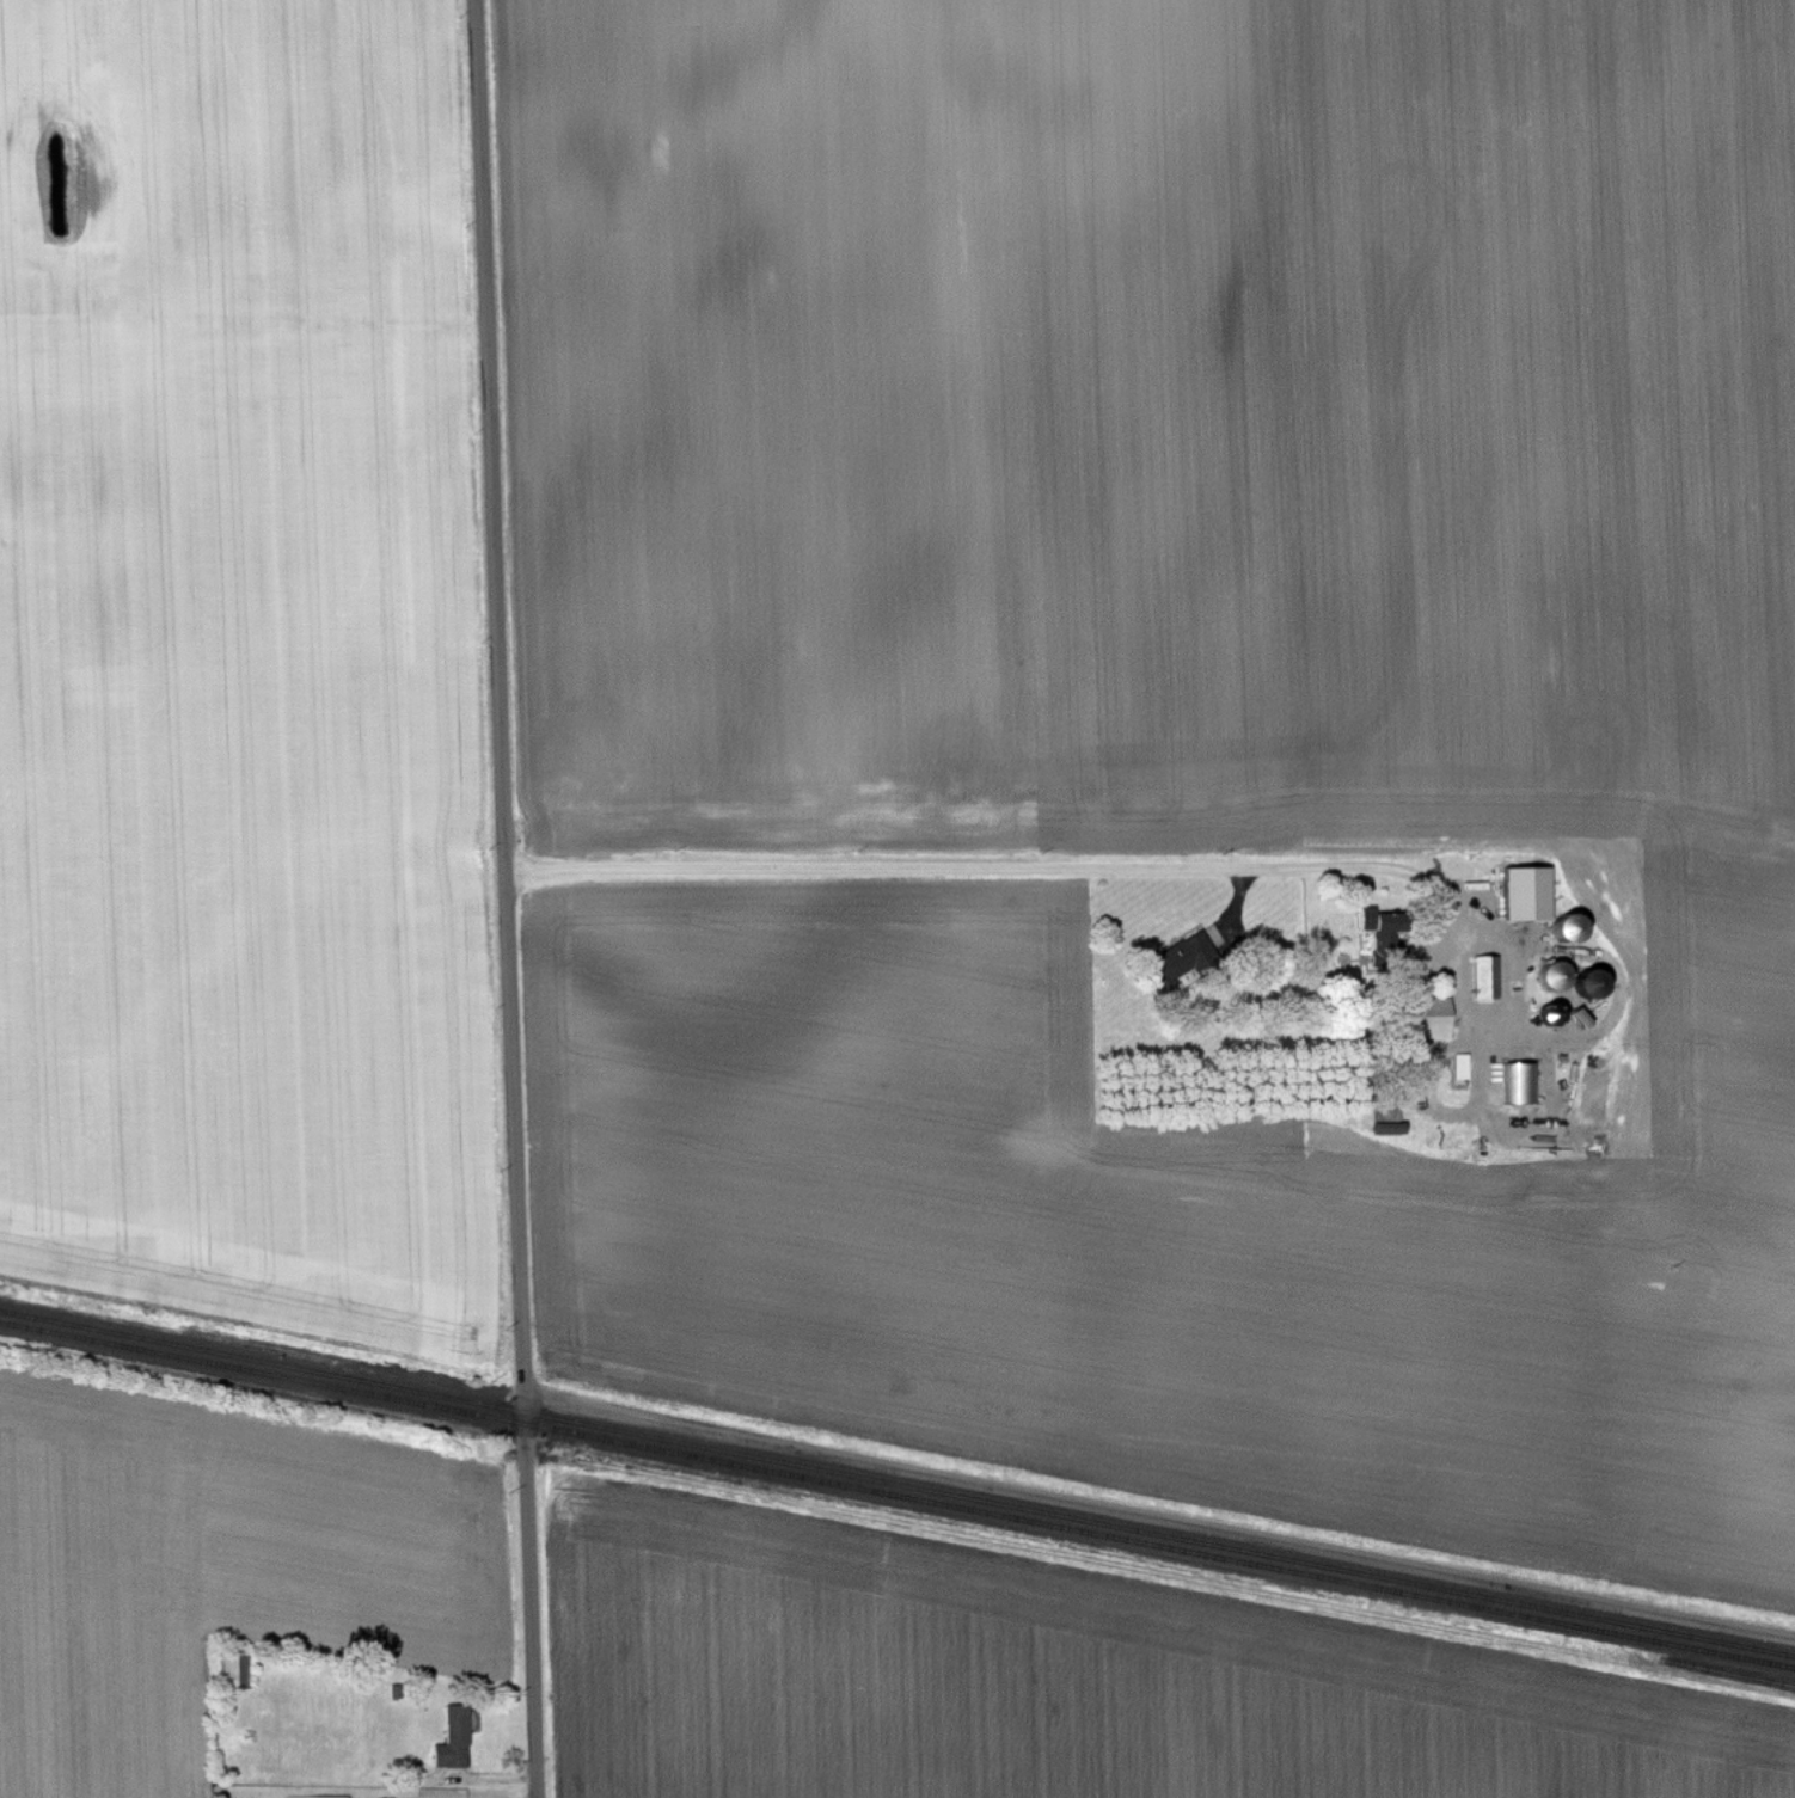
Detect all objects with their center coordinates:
road: (945, 882)
building: (1527, 894)
road: (504, 898)
building: (1554, 976)
building: (1485, 977)
building: (1589, 984)
building: (1428, 1019)
building: (1520, 1082)
building: (1386, 1112)
railway: (896, 1483)
railway: (896, 1495)
road: (1159, 1516)
building: (235, 1670)
building: (454, 1738)
building: (325, 1797)

